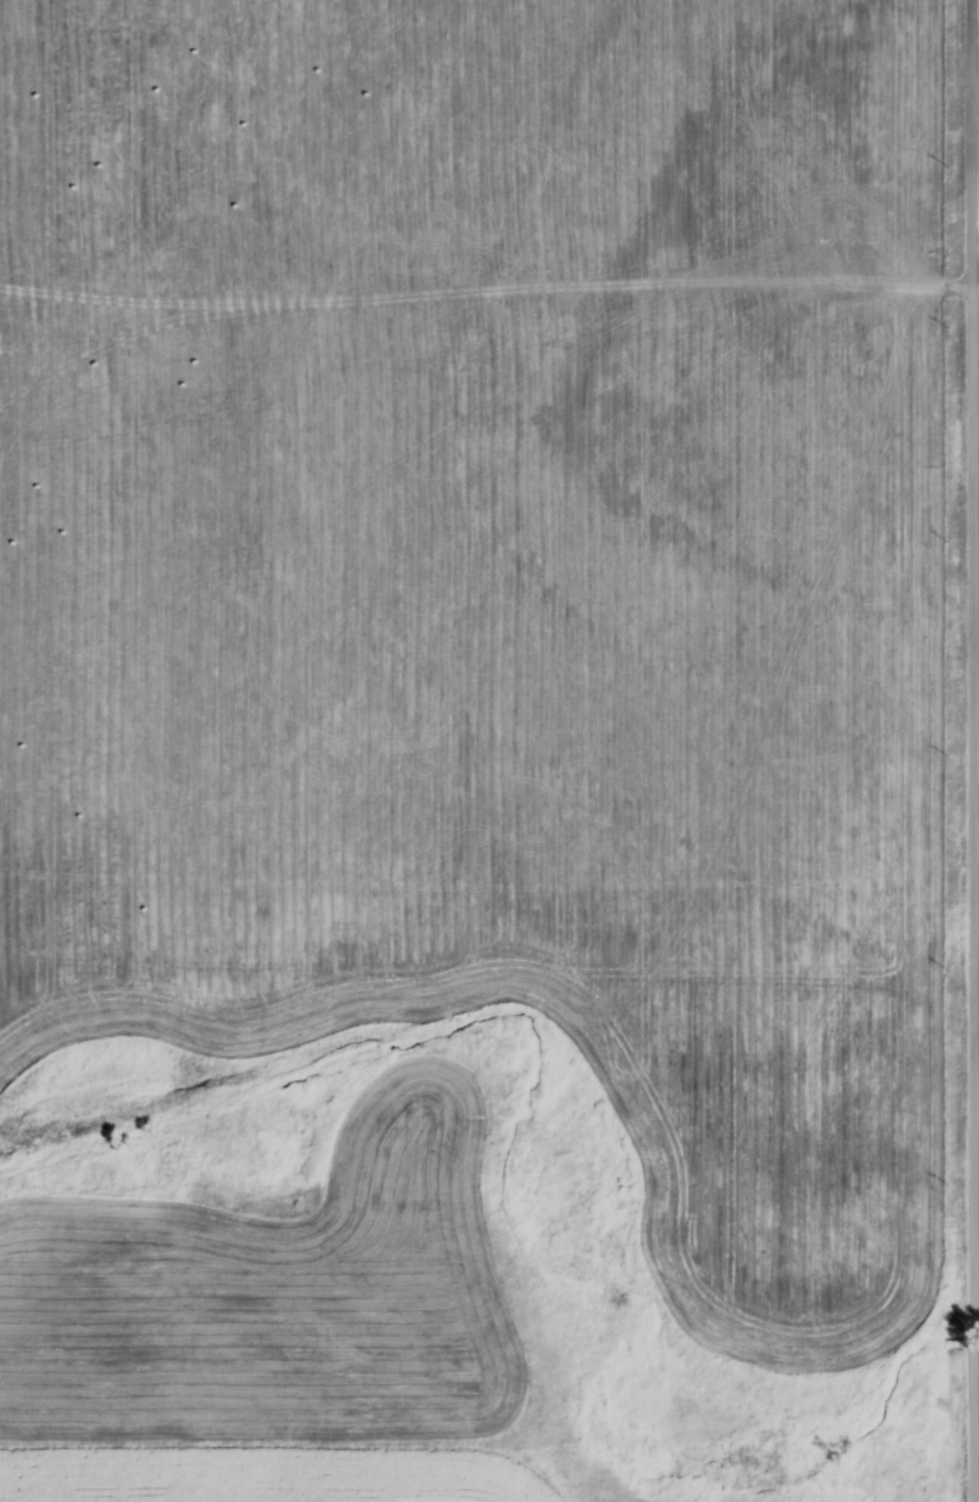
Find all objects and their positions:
road: (975, 750)

